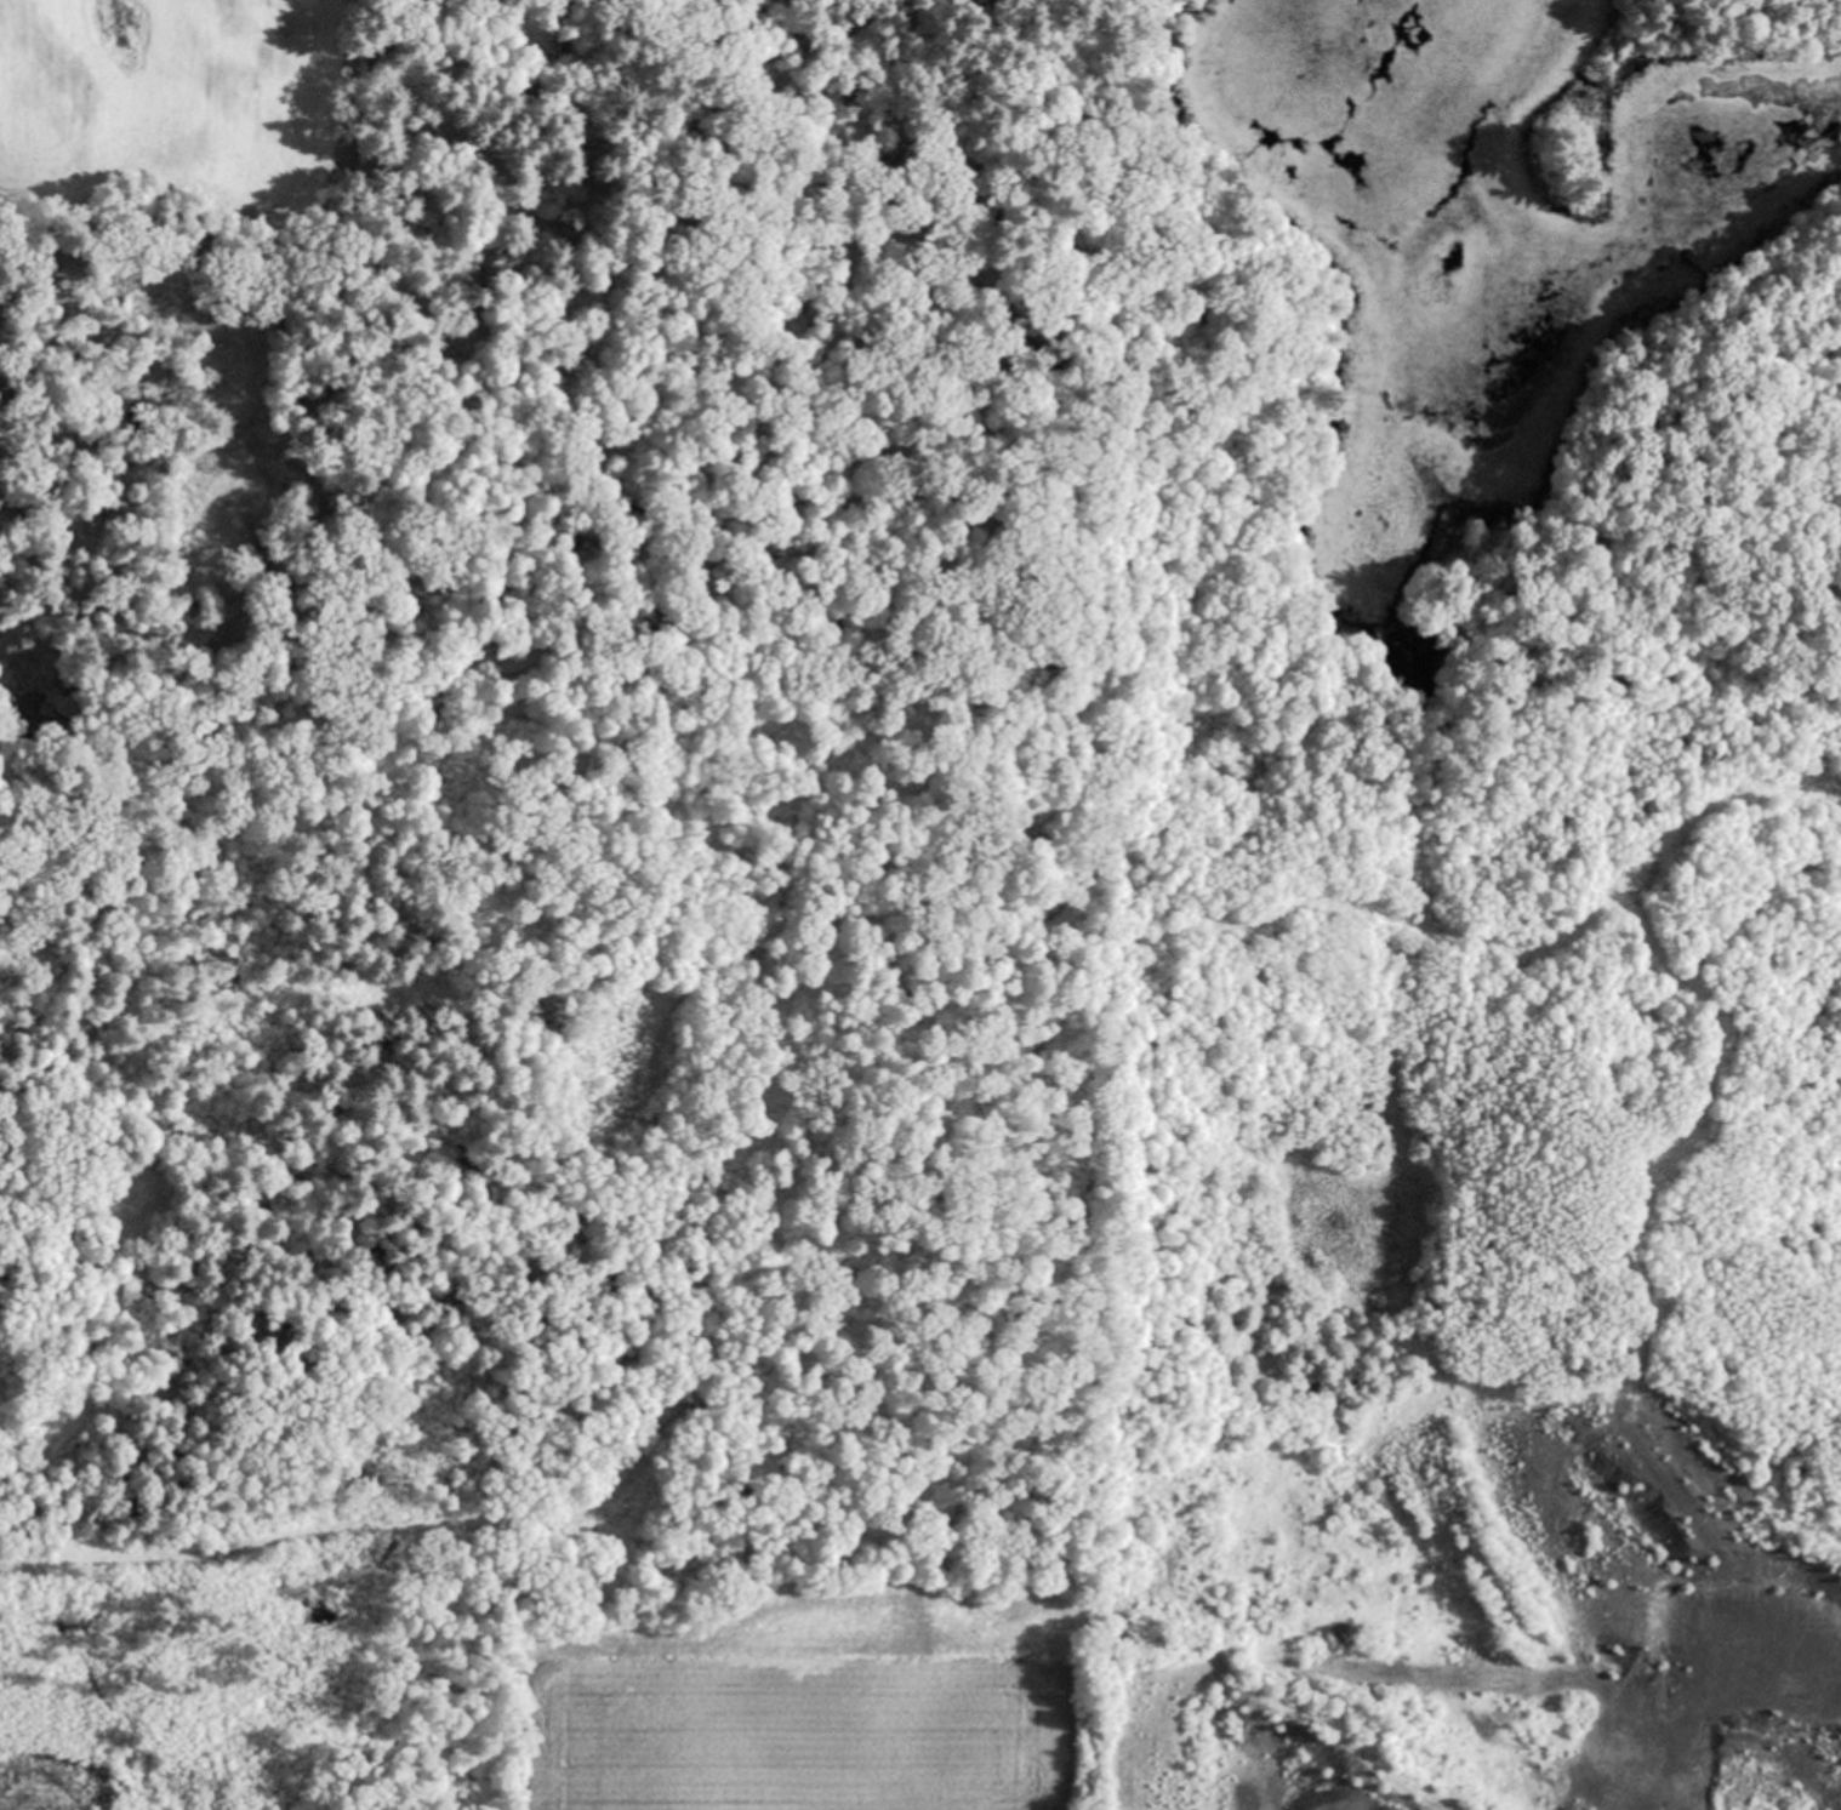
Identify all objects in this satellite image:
quarry: (1437, 1040)
quarry: (557, 1229)

